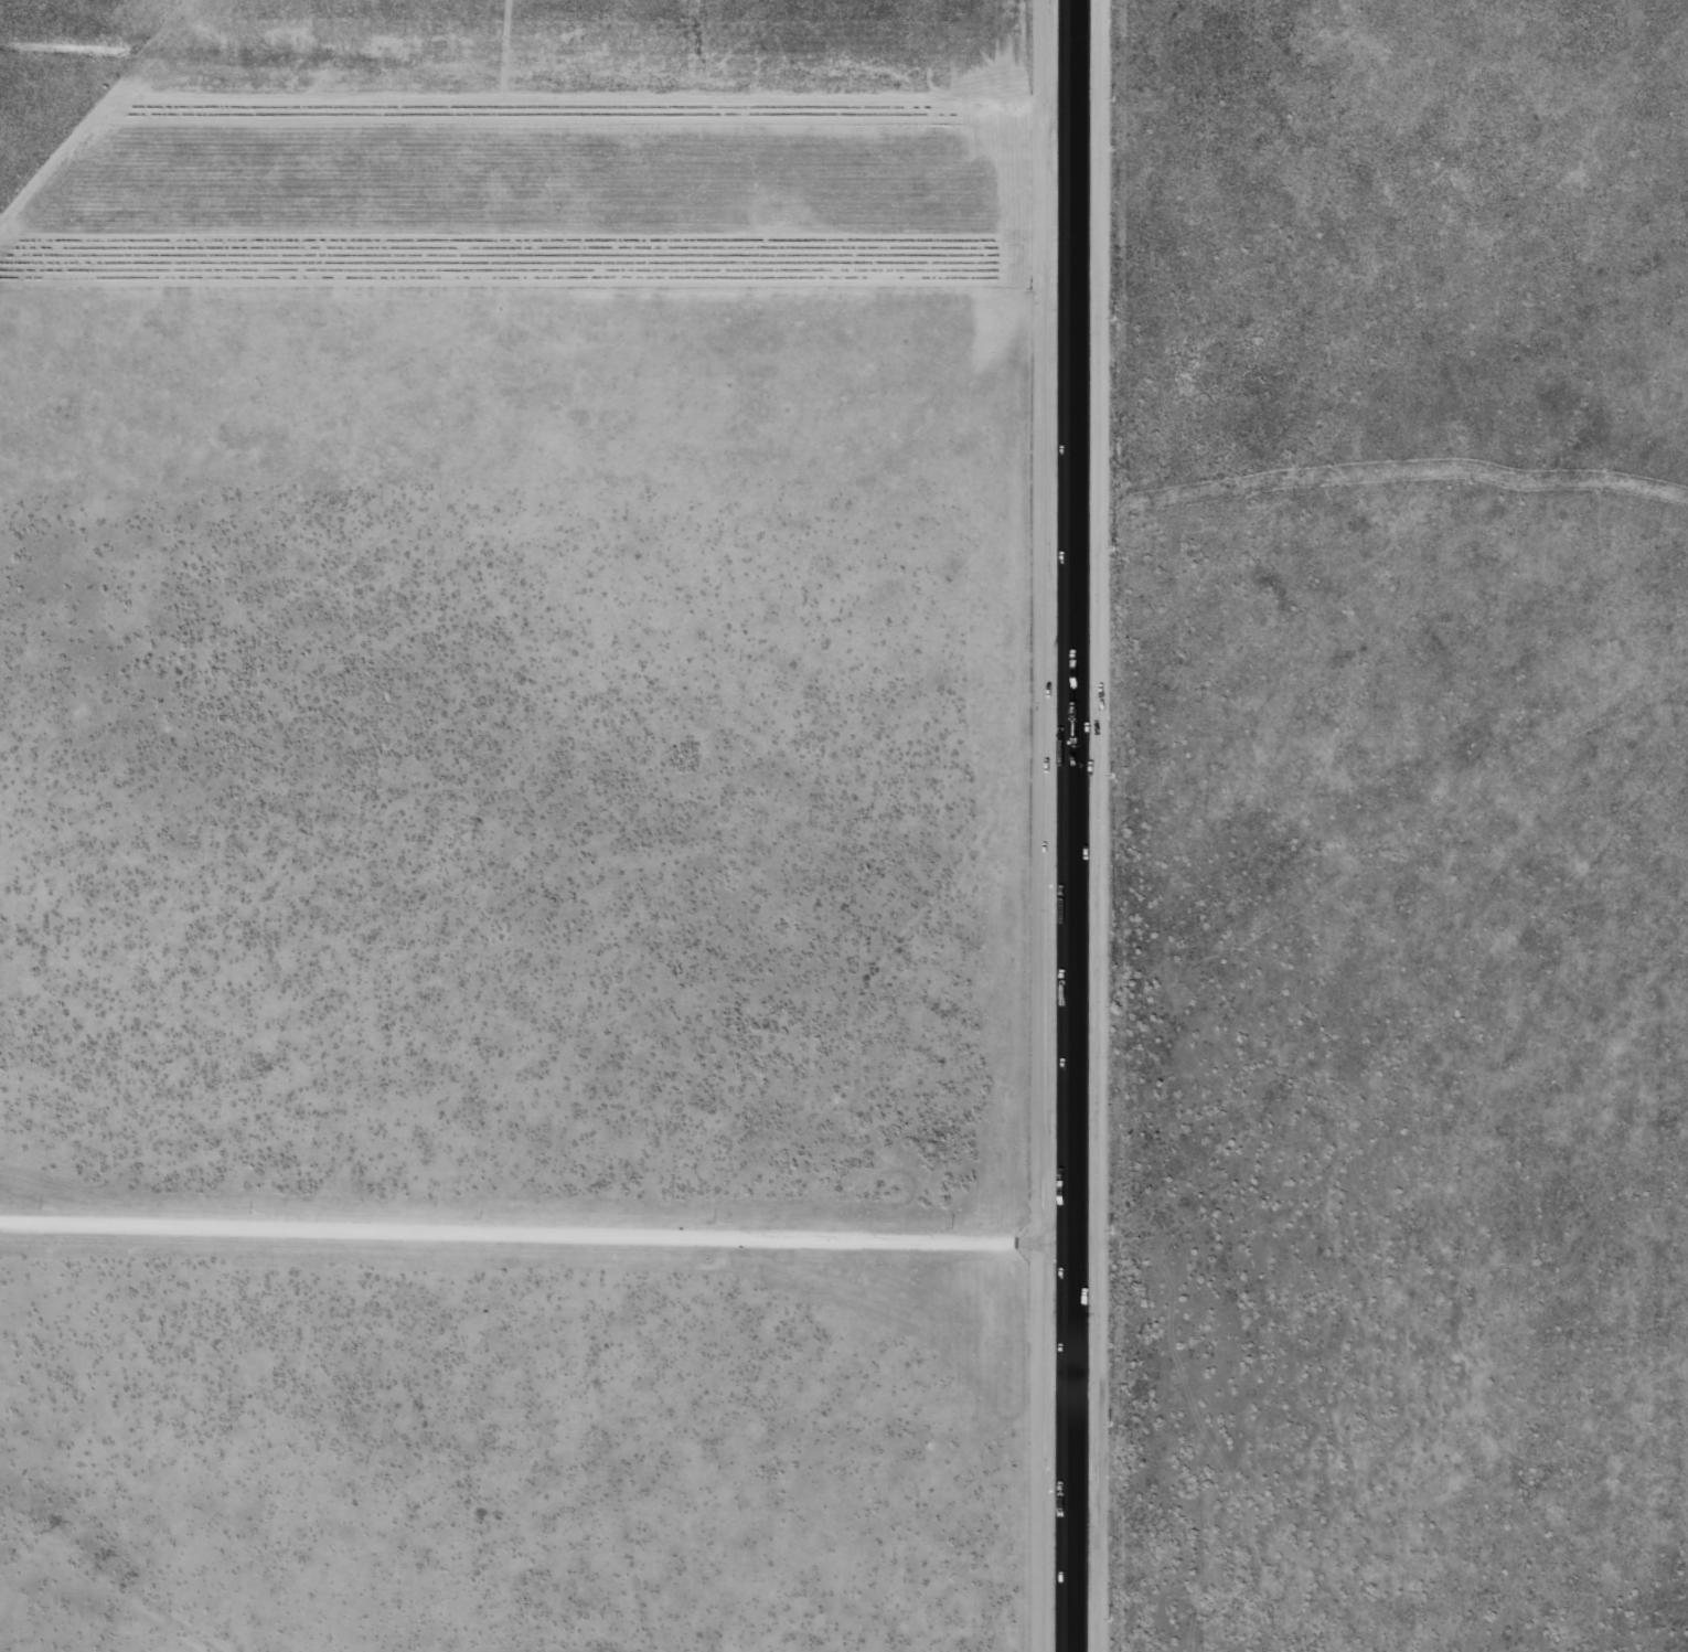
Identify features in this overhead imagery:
airport: (57, 68)
road: (1062, 825)
road: (531, 1212)

